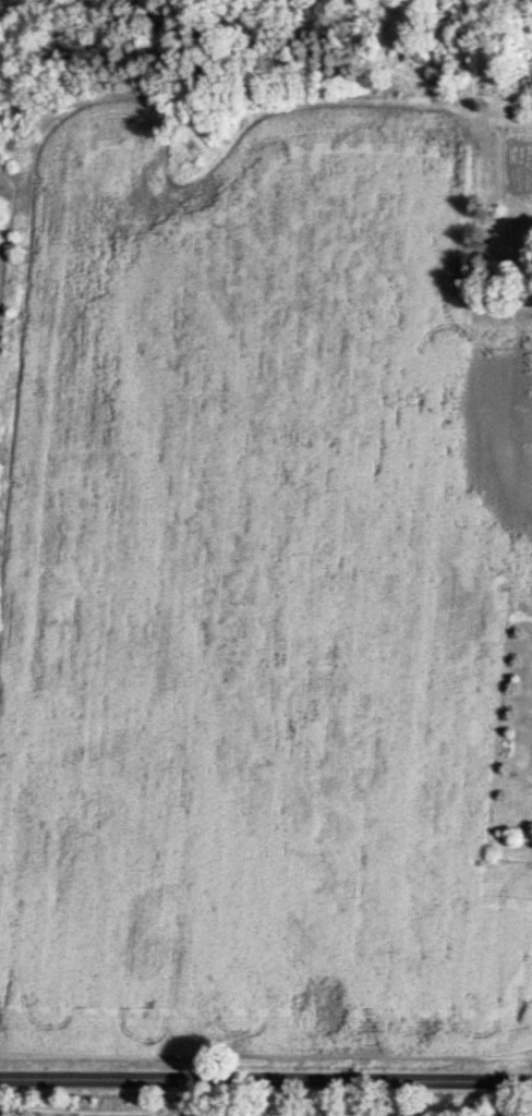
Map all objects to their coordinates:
road: (266, 1075)
road: (503, 1095)

